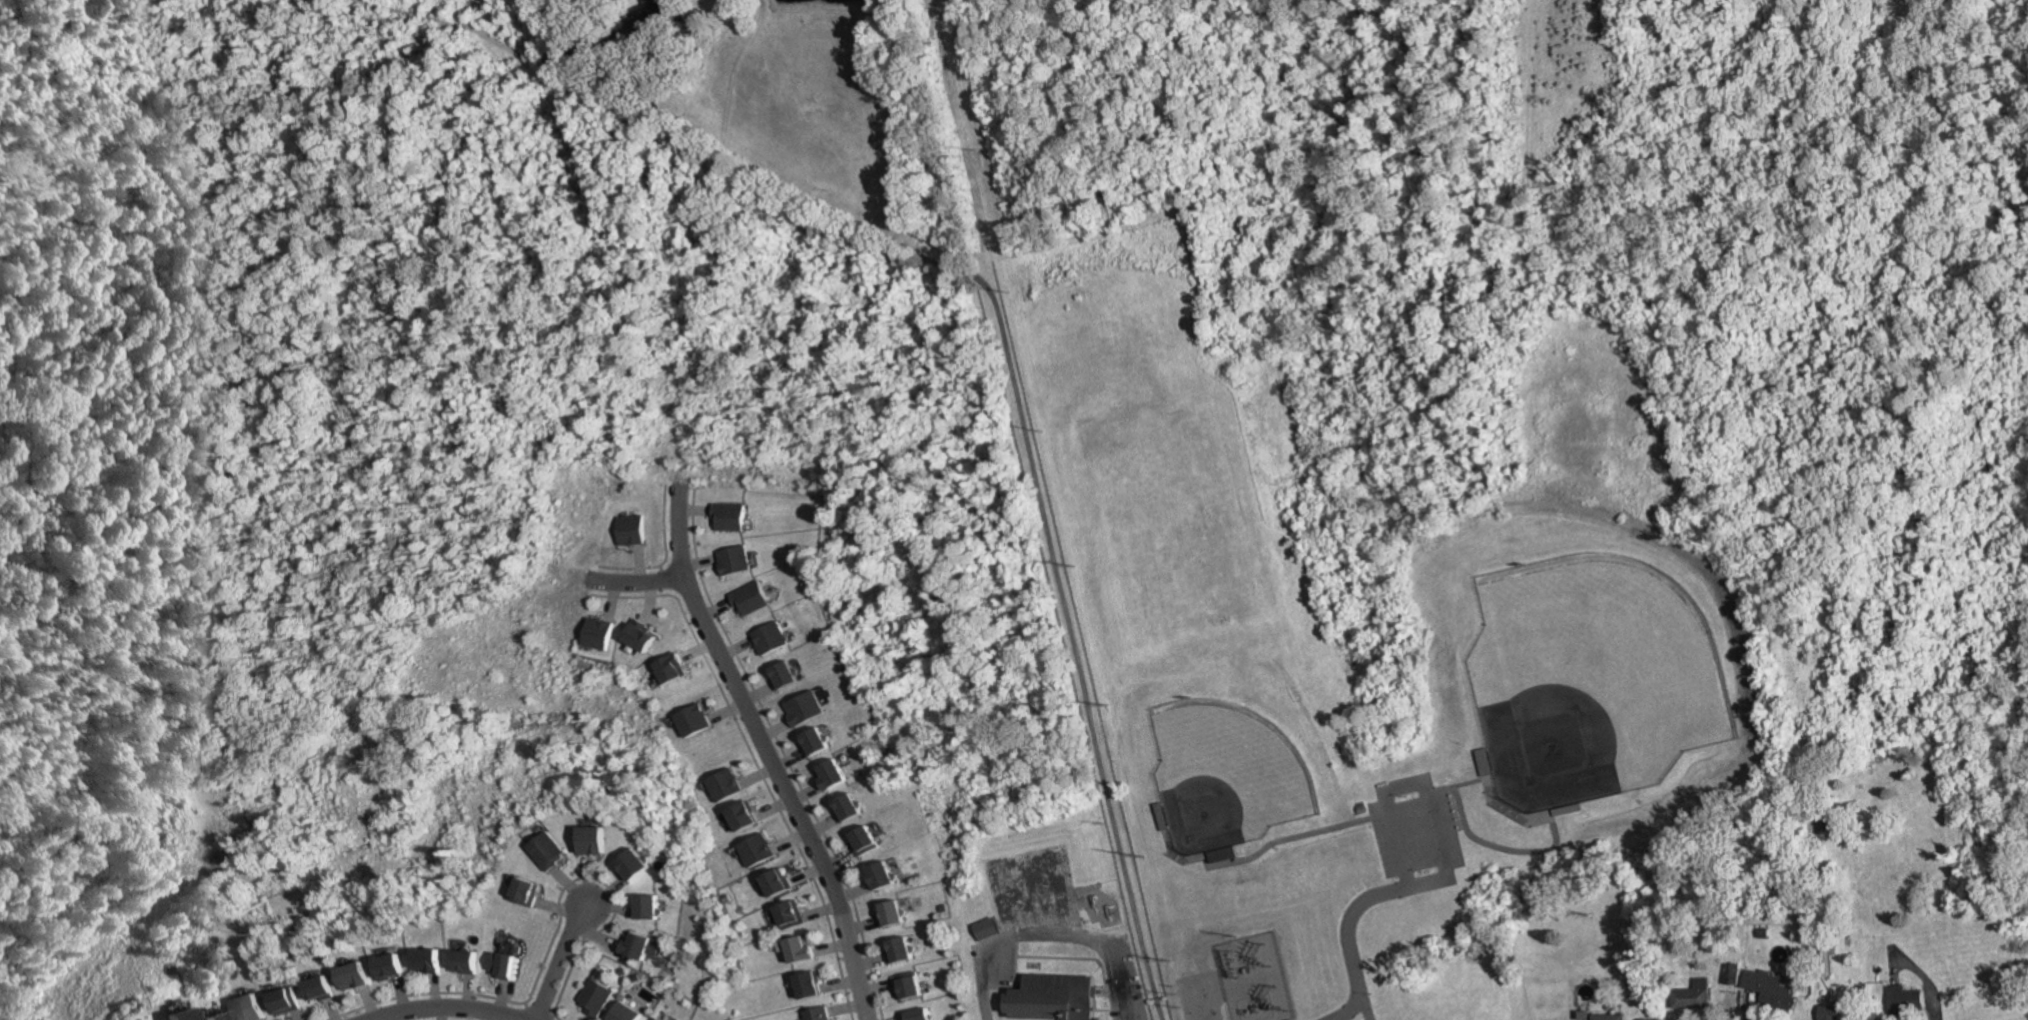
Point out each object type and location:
building: (638, 18)
road: (1035, 480)
road: (698, 511)
building: (728, 517)
building: (628, 530)
road: (668, 560)
building: (734, 560)
road: (702, 563)
road: (641, 565)
road: (663, 570)
road: (663, 578)
road: (637, 583)
building: (749, 599)
road: (614, 601)
road: (652, 603)
building: (597, 633)
building: (639, 636)
building: (768, 638)
road: (701, 651)
park: (1604, 663)
building: (671, 669)
stadium: (1592, 674)
building: (782, 675)
building: (804, 709)
building: (692, 721)
building: (815, 742)
road: (770, 751)
road: (786, 755)
road: (759, 766)
park: (1235, 767)
stadium: (1228, 771)
building: (831, 775)
building: (724, 785)
road: (1458, 786)
road: (1409, 787)
building: (1492, 790)
building: (847, 807)
building: (742, 817)
building: (1165, 826)
parking lot: (1418, 835)
road: (1293, 838)
building: (590, 841)
building: (863, 841)
road: (1499, 848)
building: (756, 850)
building: (547, 851)
building: (631, 865)
building: (879, 876)
road: (601, 881)
road: (591, 882)
building: (777, 883)
building: (525, 892)
road: (609, 894)
road: (1363, 902)
building: (645, 908)
building: (890, 914)
building: (791, 915)
road: (1042, 923)
building: (986, 929)
building: (639, 947)
building: (508, 949)
building: (799, 950)
building: (899, 950)
building: (425, 961)
building: (463, 962)
road: (562, 962)
building: (501, 966)
building: (386, 968)
building: (1731, 974)
building: (350, 977)
power substation: (1259, 979)
building: (808, 985)
building: (907, 986)
road: (1926, 986)
building: (317, 989)
building: (1768, 989)
road: (428, 994)
building: (1692, 996)
building: (594, 997)
building: (1057, 999)
building: (1906, 1000)
building: (284, 1001)
road: (1364, 1005)
road: (447, 1006)
road: (527, 1006)
building: (246, 1008)
road: (1353, 1008)
building: (624, 1012)
road: (540, 1013)
building: (1830, 1013)
building: (818, 1014)
building: (174, 1015)
building: (917, 1015)
building: (214, 1016)
road: (555, 1017)
building: (1607, 1017)
road: (558, 1018)
building: (652, 1019)

